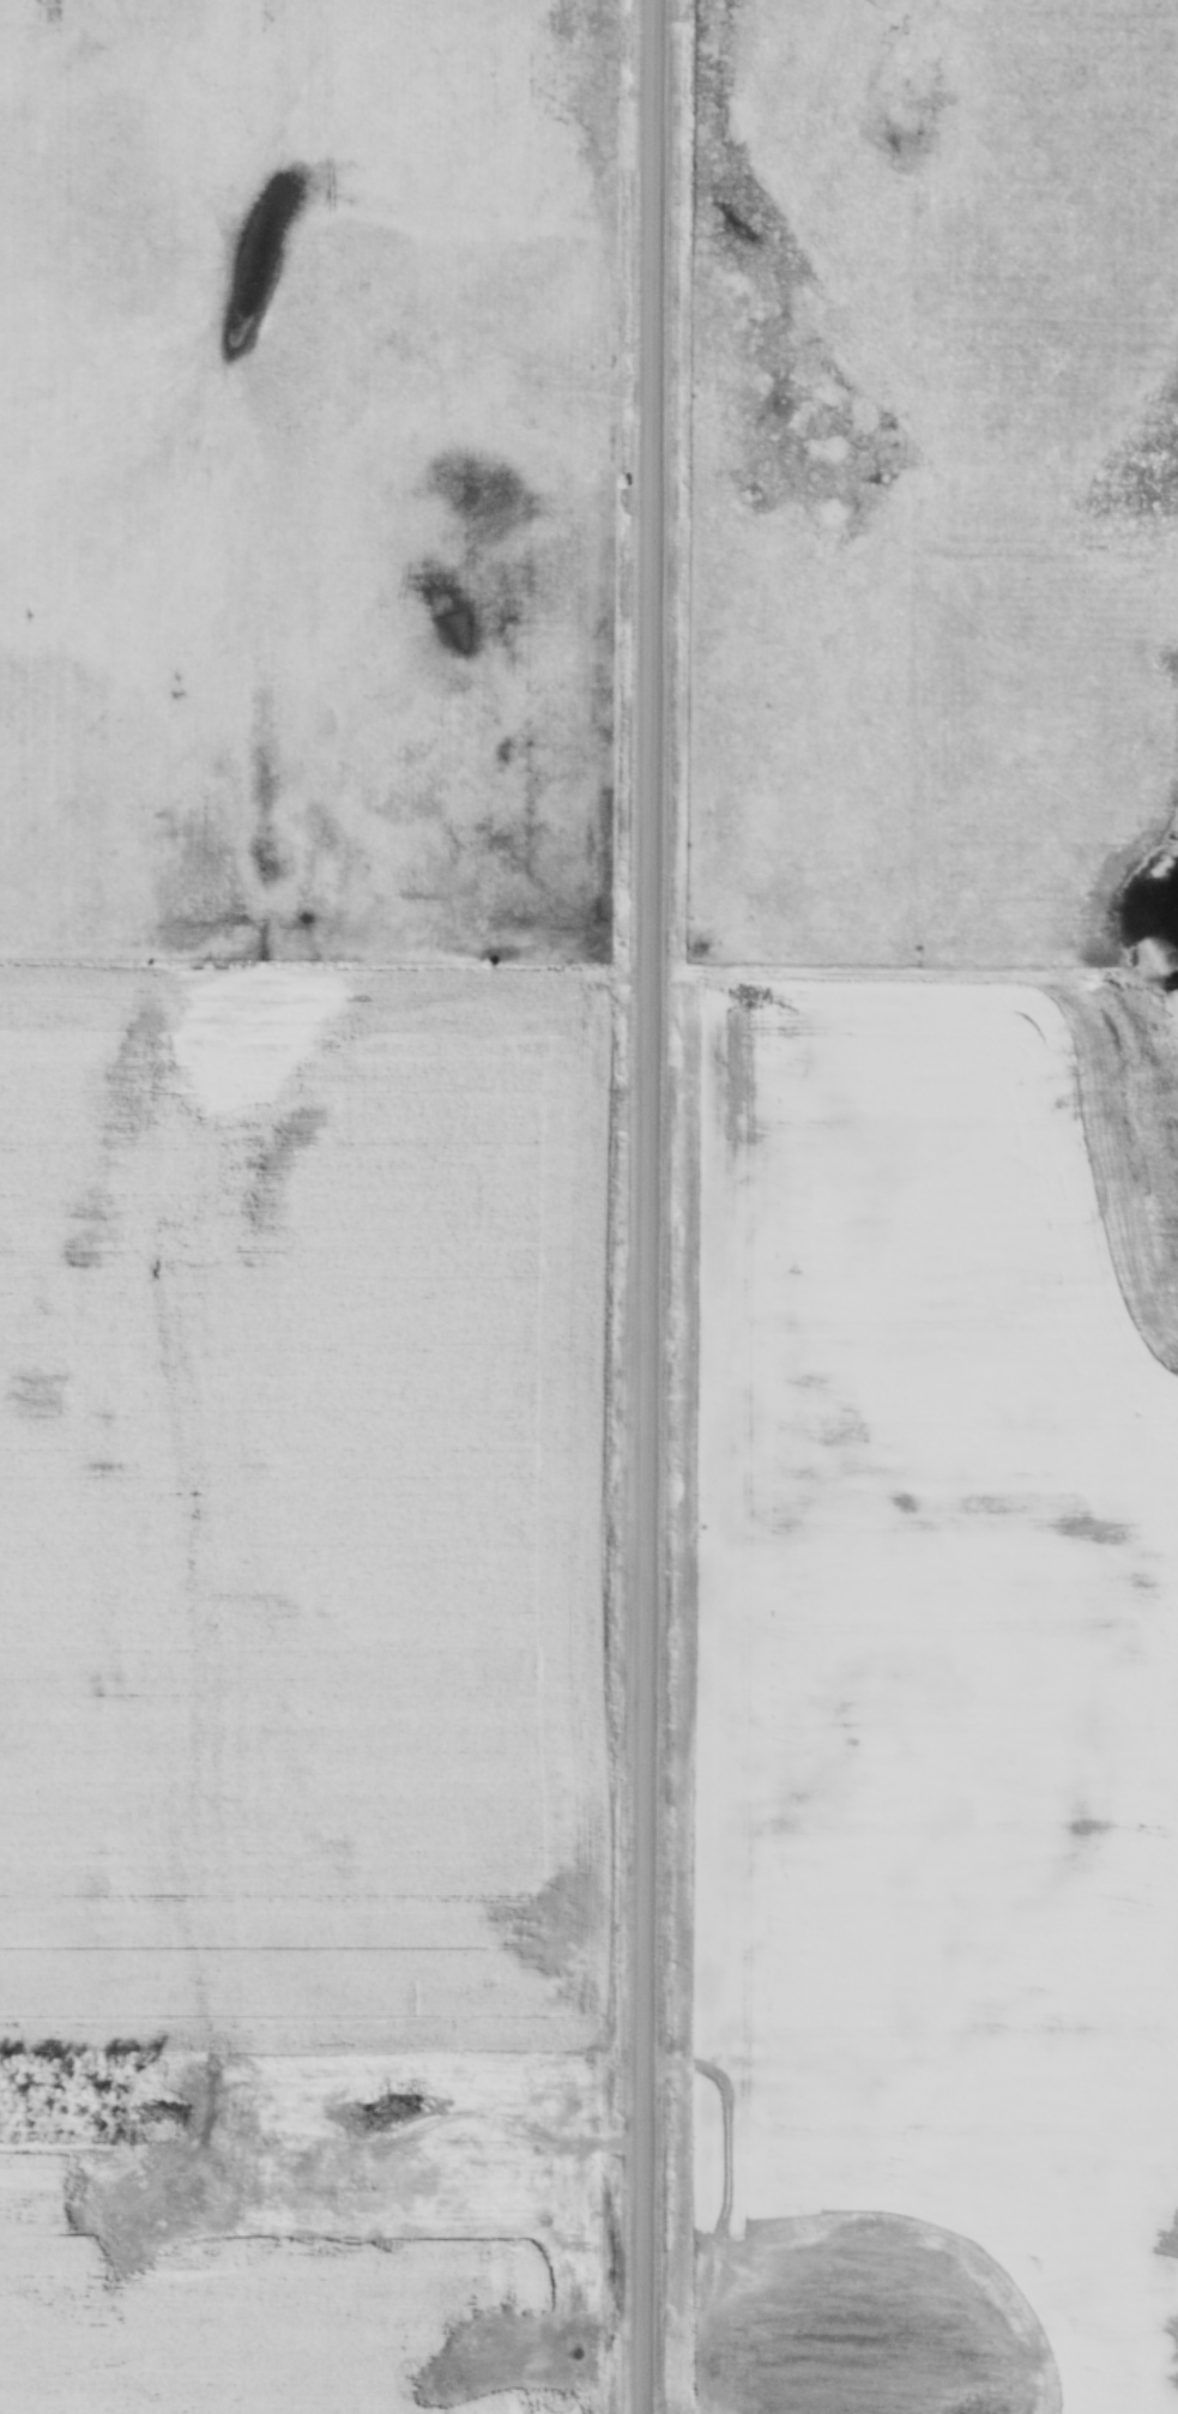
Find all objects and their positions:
road: (650, 1207)

